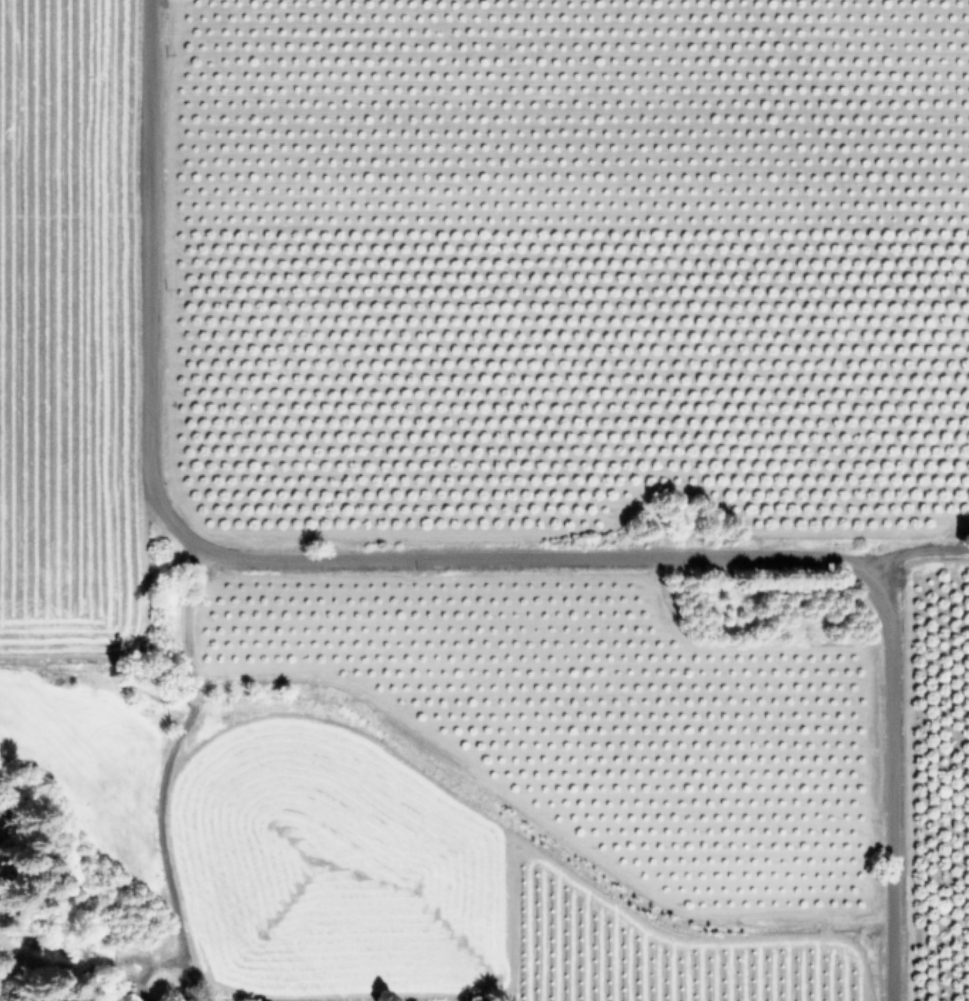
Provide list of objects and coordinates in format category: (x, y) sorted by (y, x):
crop: (487, 497)
road: (912, 551)
road: (464, 557)

